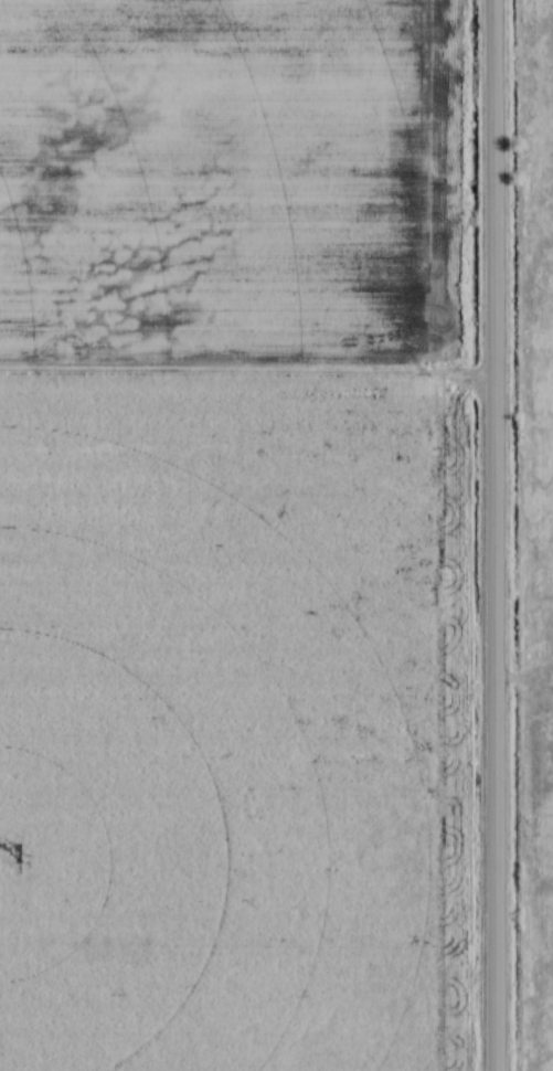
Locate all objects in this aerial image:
road: (492, 534)

